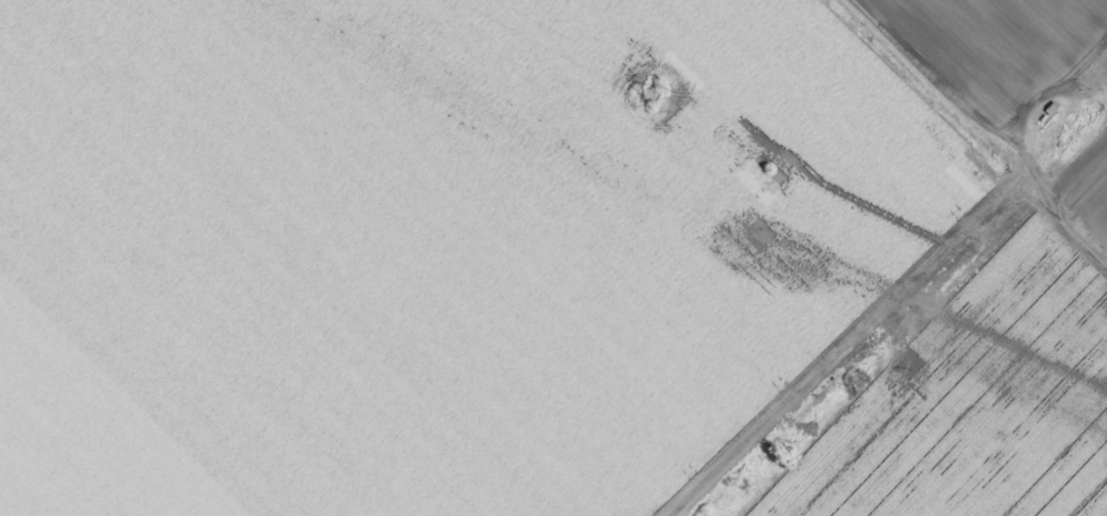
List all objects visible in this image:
road: (1076, 50)
power tower: (654, 93)

